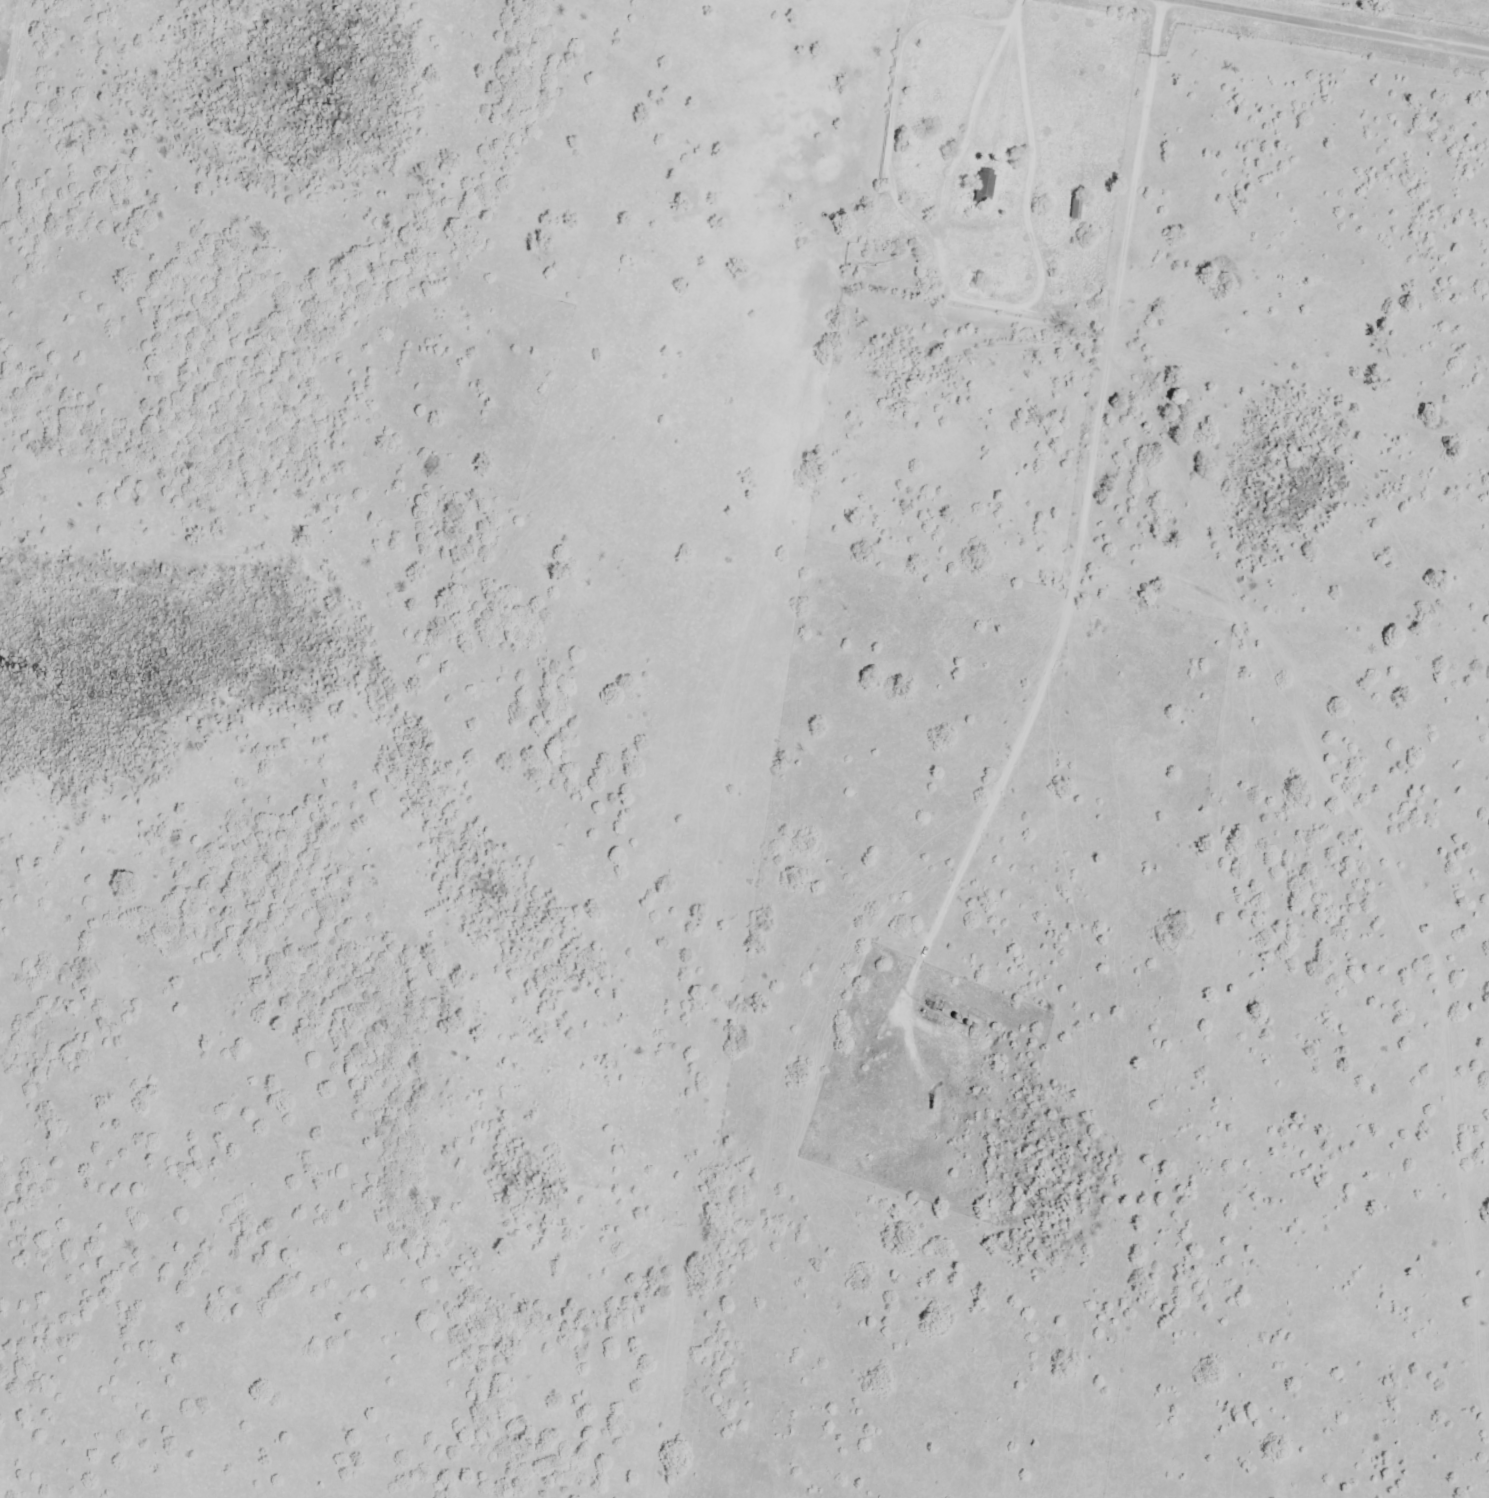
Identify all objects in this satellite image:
road: (1327, 27)
building: (985, 186)
building: (1075, 207)

